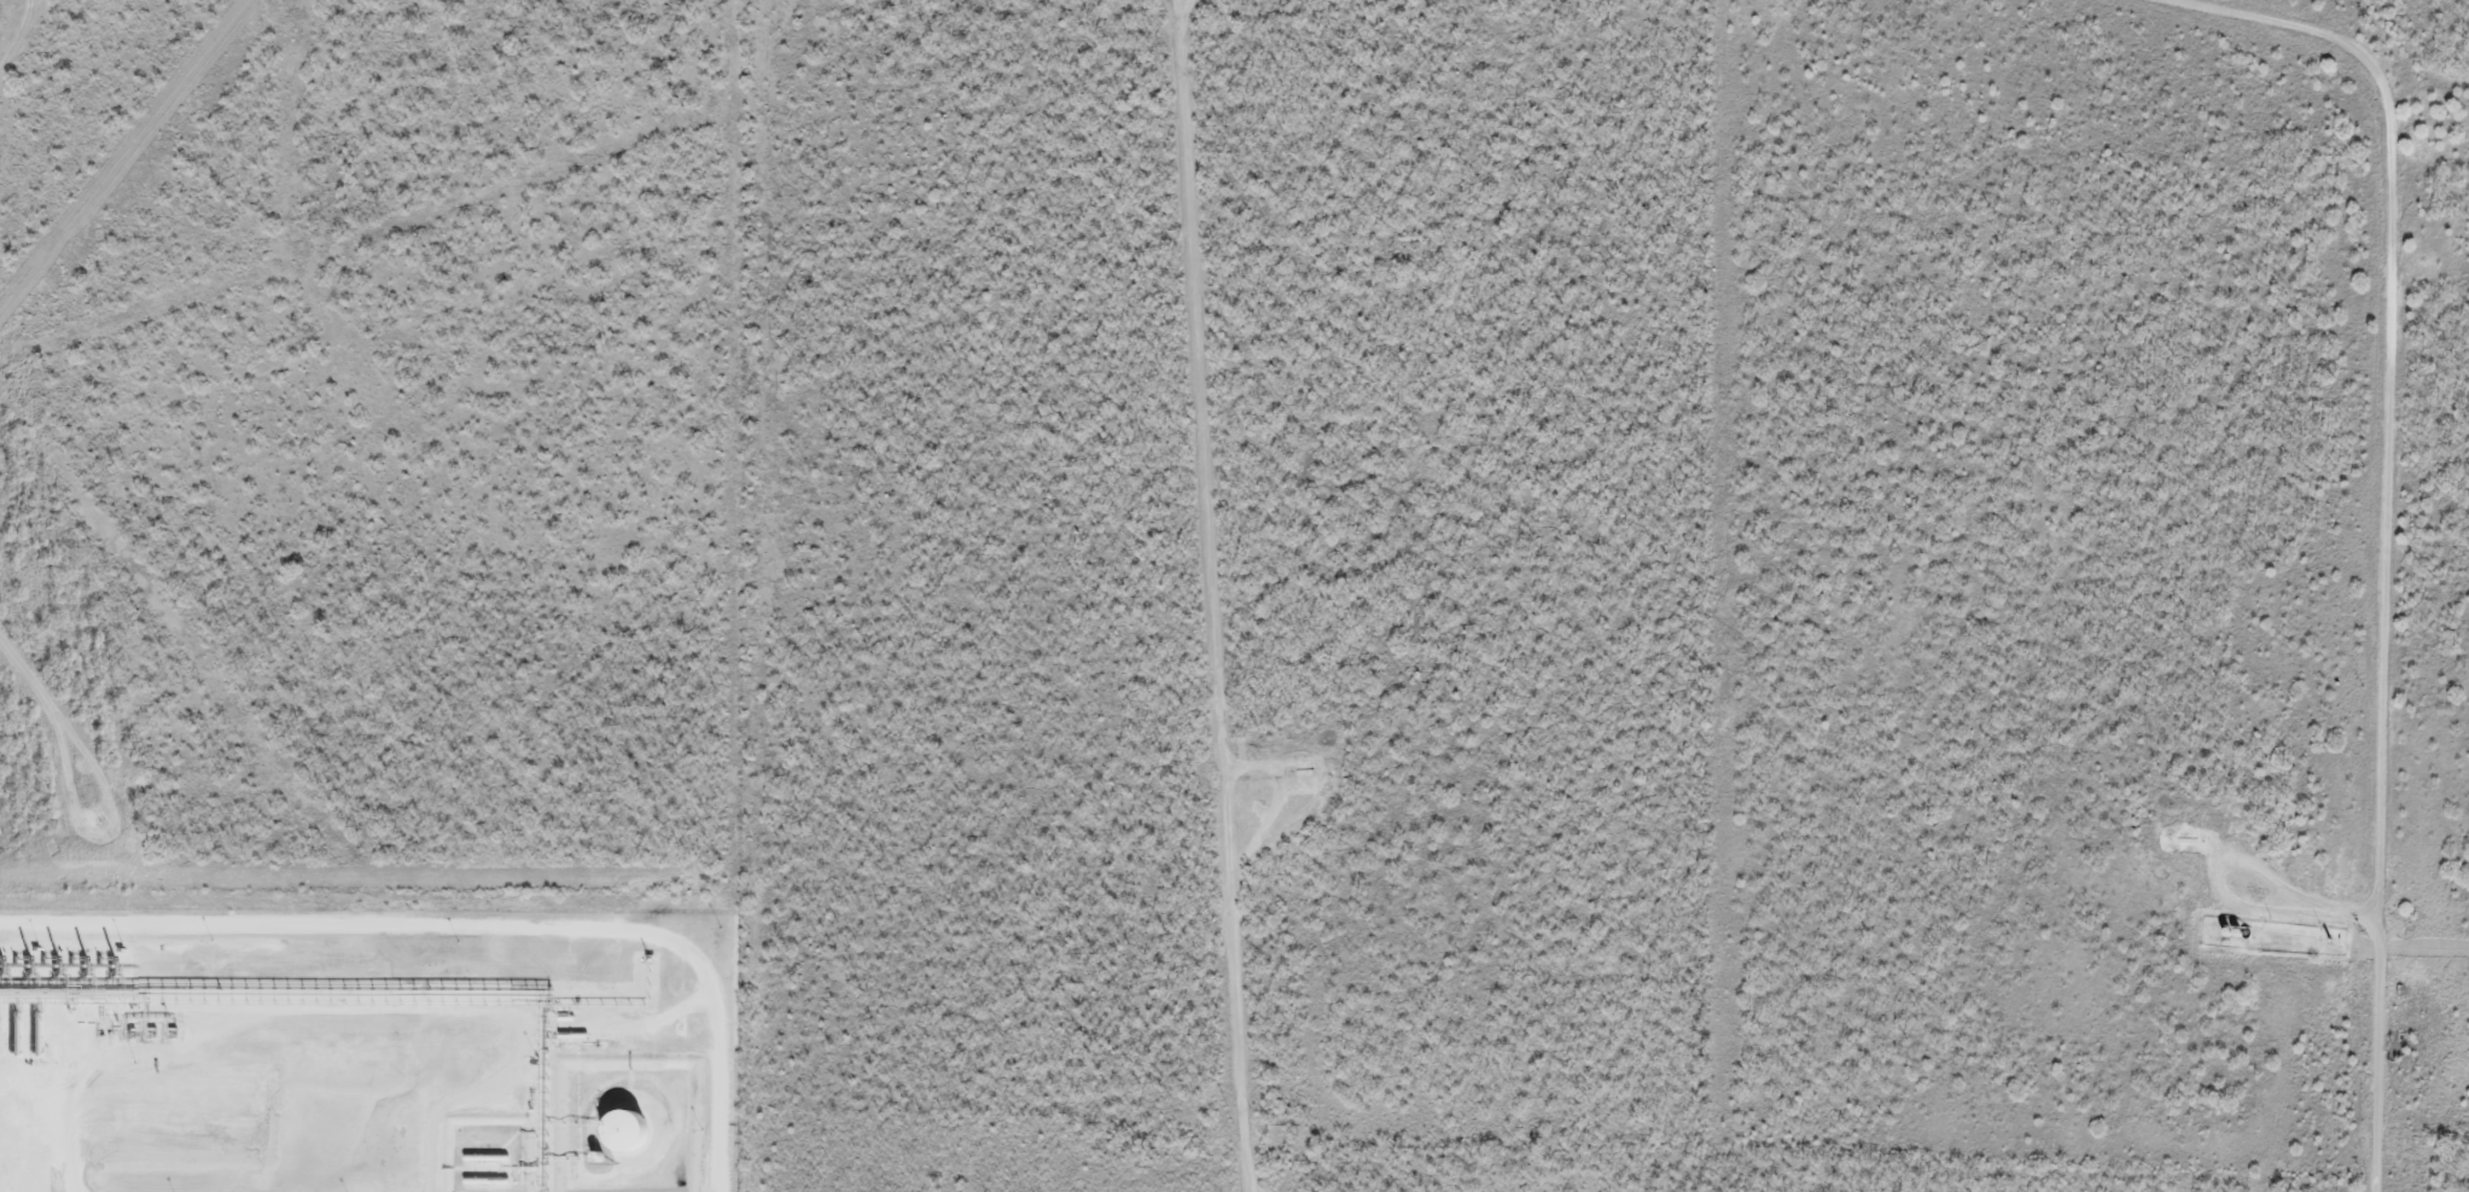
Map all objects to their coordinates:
road: (2380, 518)

